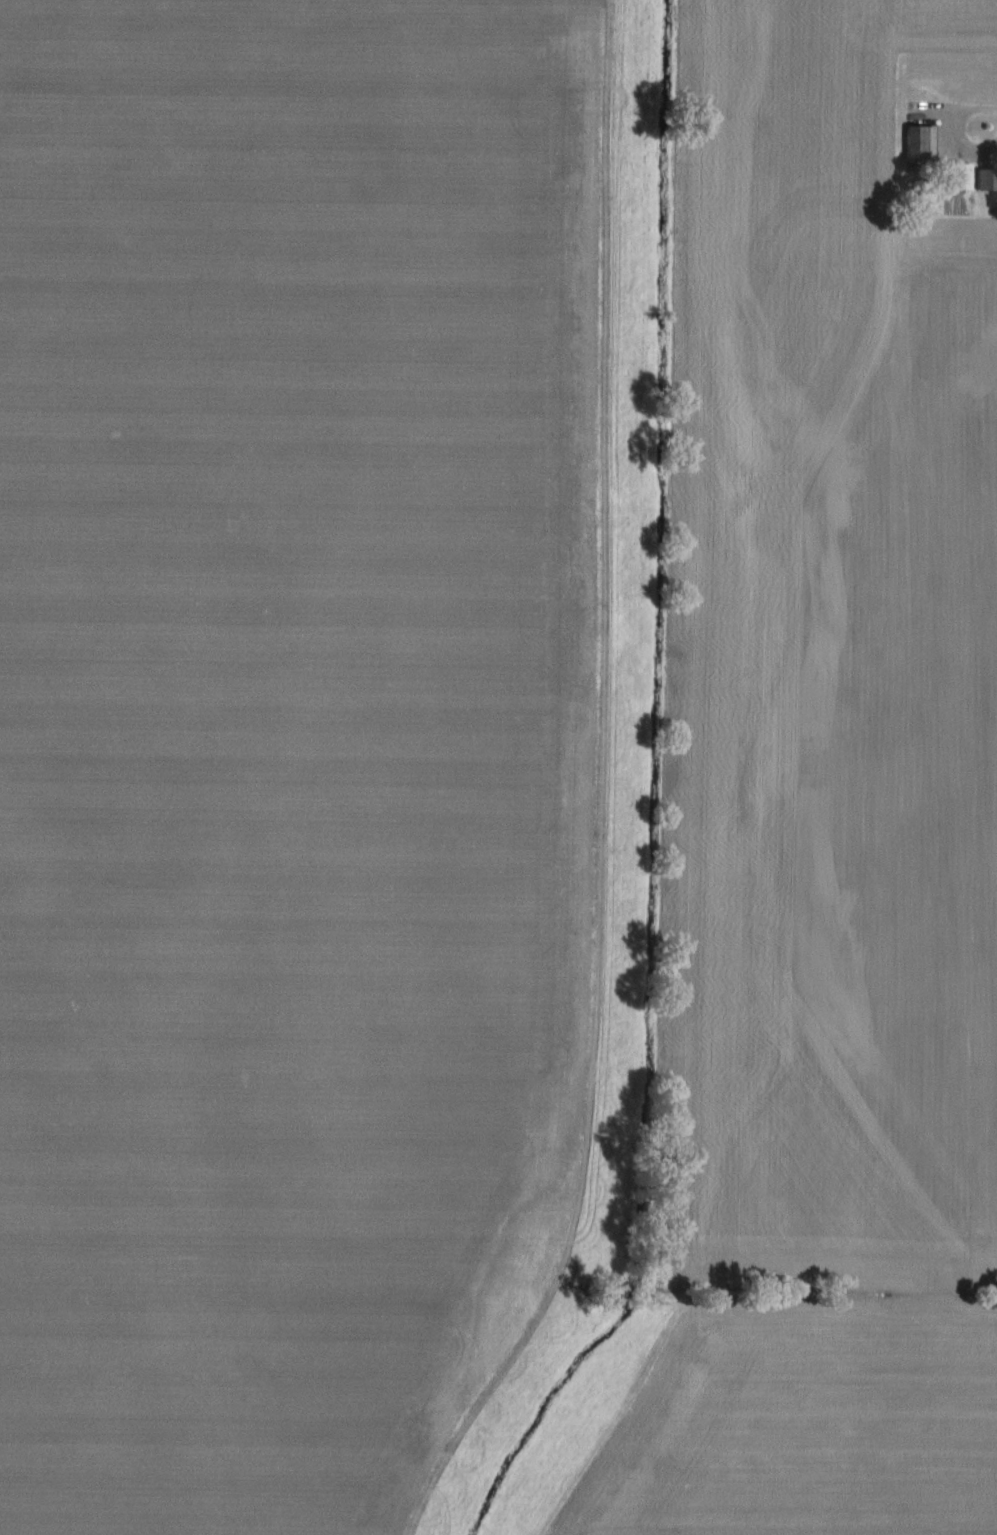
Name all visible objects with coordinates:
road: (957, 125)
building: (920, 142)
building: (961, 177)
building: (986, 179)

